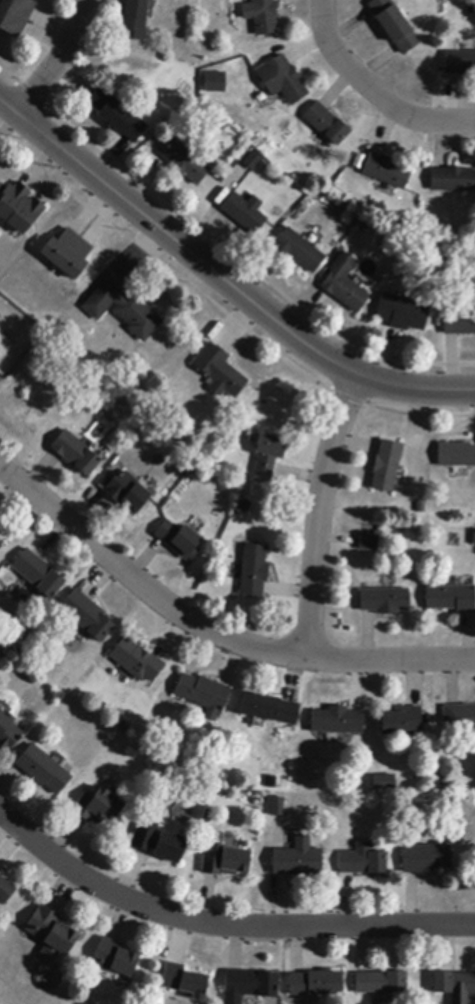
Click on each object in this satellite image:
building: (15, 15)
building: (265, 17)
building: (135, 20)
building: (395, 25)
road: (57, 63)
building: (460, 63)
building: (283, 80)
building: (214, 81)
road: (374, 90)
building: (118, 116)
building: (327, 124)
building: (253, 161)
building: (185, 163)
building: (387, 171)
building: (453, 180)
building: (19, 208)
building: (245, 213)
building: (298, 251)
building: (67, 253)
road: (223, 281)
building: (344, 284)
building: (124, 310)
building: (402, 313)
building: (459, 323)
building: (219, 371)
building: (76, 454)
building: (269, 454)
building: (456, 455)
building: (386, 466)
building: (127, 493)
road: (318, 517)
building: (0, 526)
building: (473, 538)
building: (179, 540)
building: (369, 543)
building: (1, 545)
building: (254, 571)
building: (38, 574)
building: (451, 599)
building: (385, 601)
building: (87, 616)
road: (210, 631)
building: (137, 661)
building: (203, 695)
building: (269, 709)
building: (458, 717)
building: (402, 721)
building: (338, 722)
building: (8, 733)
building: (43, 770)
building: (382, 782)
building: (98, 807)
building: (278, 807)
building: (159, 842)
building: (299, 859)
building: (427, 859)
building: (225, 861)
building: (363, 861)
building: (0, 871)
building: (5, 891)
road: (222, 927)
building: (52, 933)
building: (115, 958)
building: (185, 981)
building: (381, 983)
building: (251, 984)
building: (317, 984)
building: (455, 986)

